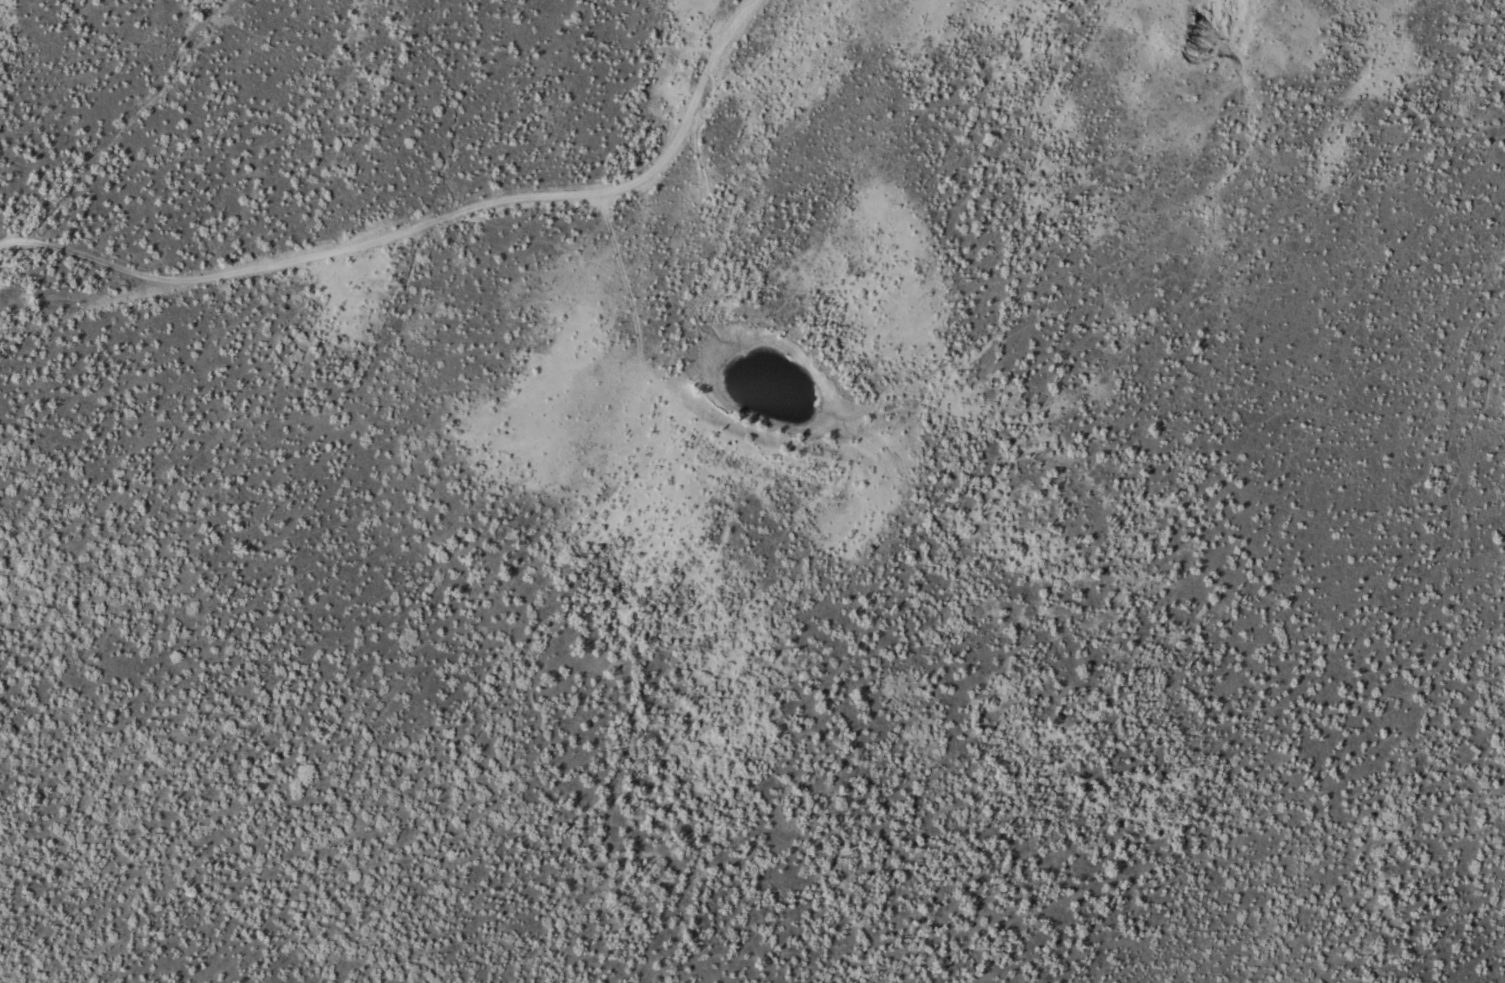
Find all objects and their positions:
road: (317, 264)

